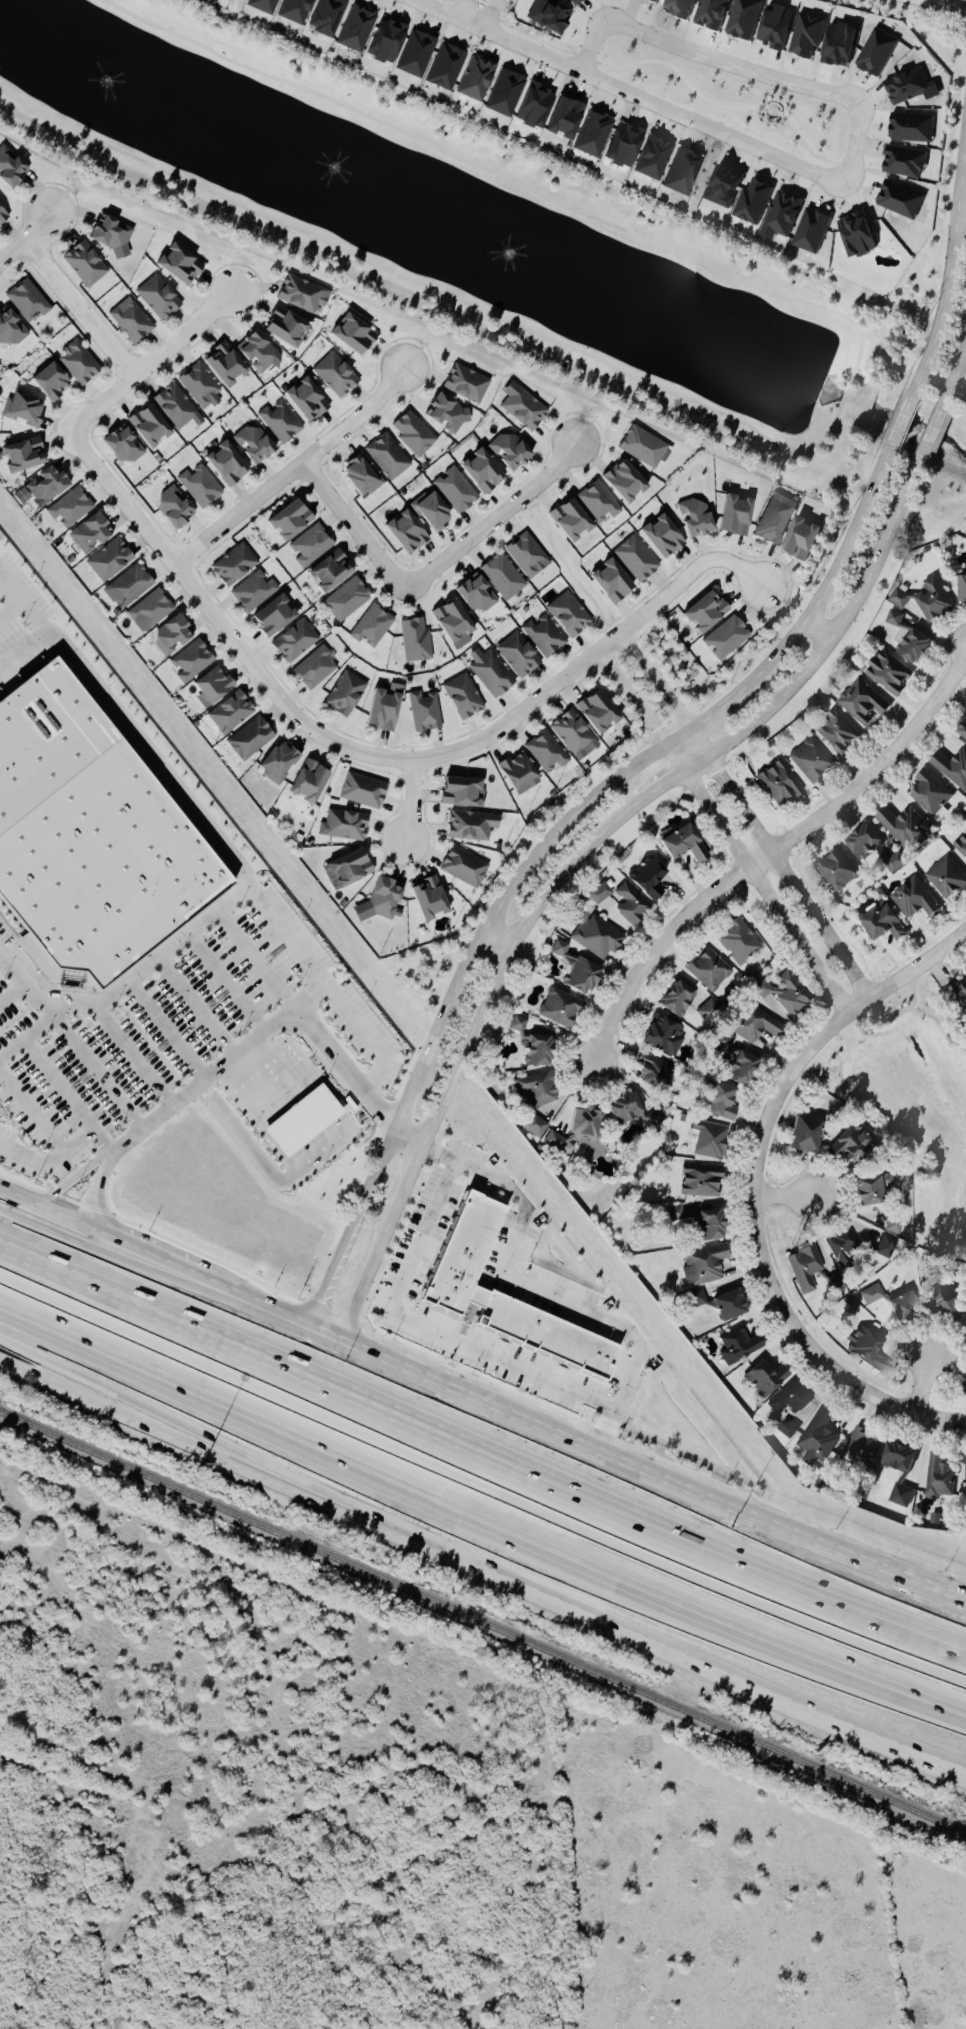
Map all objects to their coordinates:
building: (579, 1)
road: (950, 3)
building: (268, 5)
building: (681, 7)
building: (300, 10)
road: (465, 10)
building: (716, 13)
road: (491, 15)
building: (554, 16)
building: (331, 17)
building: (748, 18)
building: (784, 28)
building: (361, 29)
building: (812, 35)
road: (497, 36)
building: (846, 46)
building: (408, 48)
building: (880, 52)
building: (451, 67)
fountain: (107, 75)
building: (482, 79)
building: (910, 86)
building: (510, 93)
building: (543, 108)
building: (587, 127)
road: (859, 127)
building: (913, 127)
building: (645, 152)
building: (907, 162)
building: (14, 169)
fountain: (333, 169)
building: (688, 171)
building: (729, 187)
building: (900, 199)
building: (758, 202)
road: (962, 206)
building: (4, 215)
building: (786, 215)
building: (814, 231)
building: (117, 235)
building: (864, 235)
road: (27, 239)
fountain: (517, 263)
building: (89, 264)
building: (187, 266)
road: (948, 267)
building: (307, 294)
building: (162, 298)
building: (32, 301)
road: (79, 310)
building: (135, 321)
building: (291, 327)
building: (13, 329)
building: (362, 336)
road: (965, 339)
building: (262, 352)
road: (153, 363)
building: (83, 364)
building: (230, 365)
road: (953, 371)
building: (339, 375)
building: (50, 381)
building: (470, 384)
building: (204, 387)
building: (312, 400)
building: (527, 406)
building: (178, 407)
building: (29, 411)
building: (451, 413)
road: (901, 420)
road: (834, 421)
building: (283, 422)
building: (155, 426)
building: (417, 434)
road: (931, 434)
building: (259, 445)
building: (129, 447)
building: (647, 447)
building: (515, 451)
building: (392, 457)
building: (233, 464)
road: (293, 470)
building: (489, 472)
building: (366, 475)
building: (631, 483)
building: (204, 487)
building: (49, 488)
building: (460, 491)
building: (602, 502)
building: (74, 508)
building: (181, 509)
building: (437, 511)
building: (744, 516)
building: (780, 519)
building: (578, 520)
building: (701, 520)
building: (96, 534)
building: (307, 534)
building: (414, 534)
building: (670, 538)
building: (809, 539)
building: (527, 554)
building: (640, 559)
building: (114, 560)
road: (431, 570)
building: (331, 574)
building: (504, 576)
building: (246, 578)
building: (613, 581)
building: (129, 586)
building: (960, 589)
building: (474, 593)
building: (927, 599)
building: (346, 600)
building: (148, 610)
building: (702, 611)
road: (11, 613)
building: (567, 614)
building: (270, 616)
building: (894, 618)
building: (451, 623)
road: (221, 624)
building: (370, 626)
road: (819, 628)
building: (169, 635)
building: (542, 635)
building: (724, 638)
building: (414, 640)
building: (293, 641)
building: (909, 643)
road: (22, 650)
building: (516, 654)
road: (594, 655)
building: (189, 661)
building: (314, 667)
building: (489, 672)
building: (886, 673)
road: (657, 681)
building: (209, 686)
building: (344, 693)
building: (461, 696)
road: (634, 698)
building: (860, 702)
building: (381, 707)
building: (423, 711)
building: (229, 712)
building: (594, 712)
building: (960, 731)
building: (834, 733)
building: (571, 735)
building: (248, 739)
building: (545, 751)
building: (807, 761)
building: (276, 763)
building: (951, 768)
building: (517, 774)
building: (306, 782)
building: (775, 783)
building: (361, 790)
building: (459, 792)
building: (926, 794)
road: (177, 796)
road: (413, 800)
building: (344, 825)
building: (469, 825)
building: (901, 826)
building: (88, 838)
building: (861, 842)
building: (683, 843)
road: (549, 845)
building: (960, 846)
road: (769, 853)
road: (580, 857)
building: (893, 863)
road: (780, 864)
building: (462, 866)
building: (345, 869)
building: (836, 870)
building: (648, 877)
road: (759, 878)
building: (945, 878)
building: (600, 892)
building: (428, 898)
building: (912, 899)
building: (378, 901)
building: (631, 904)
building: (880, 923)
building: (420, 930)
road: (503, 933)
building: (598, 937)
building: (736, 942)
building: (557, 948)
road: (1, 954)
road: (158, 958)
road: (255, 961)
building: (706, 970)
building: (574, 973)
road: (227, 983)
road: (27, 985)
building: (782, 993)
road: (13, 994)
building: (959, 994)
building: (674, 1000)
road: (198, 1007)
building: (559, 1007)
building: (707, 1009)
building: (751, 1024)
road: (31, 1031)
road: (168, 1031)
road: (265, 1034)
building: (658, 1035)
road: (367, 1036)
building: (535, 1051)
road: (136, 1056)
building: (733, 1063)
road: (96, 1072)
building: (649, 1072)
road: (59, 1083)
building: (533, 1089)
building: (716, 1103)
building: (621, 1109)
road: (32, 1110)
building: (652, 1118)
building: (302, 1120)
gas station: (302, 1120)
building: (583, 1124)
building: (532, 1127)
building: (801, 1135)
building: (707, 1140)
road: (410, 1141)
building: (552, 1142)
building: (849, 1144)
road: (63, 1152)
road: (104, 1158)
building: (698, 1184)
road: (757, 1189)
building: (867, 1190)
road: (789, 1199)
road: (427, 1205)
road: (57, 1216)
building: (696, 1222)
building: (892, 1223)
road: (56, 1228)
building: (839, 1244)
building: (882, 1245)
building: (462, 1253)
road: (164, 1262)
building: (701, 1265)
building: (802, 1268)
road: (540, 1285)
building: (476, 1296)
building: (943, 1302)
building: (718, 1304)
building: (893, 1306)
road: (290, 1314)
building: (965, 1328)
building: (545, 1332)
building: (737, 1346)
building: (865, 1349)
road: (489, 1353)
road: (40, 1361)
road: (38, 1370)
building: (762, 1379)
road: (927, 1385)
building: (963, 1389)
building: (788, 1399)
building: (786, 1429)
building: (817, 1436)
road: (481, 1448)
building: (859, 1450)
building: (896, 1459)
road: (663, 1477)
building: (938, 1477)
building: (965, 1477)
building: (899, 1496)
road: (480, 1501)
road: (521, 1580)
railway: (483, 1622)
railway: (434, 1835)

